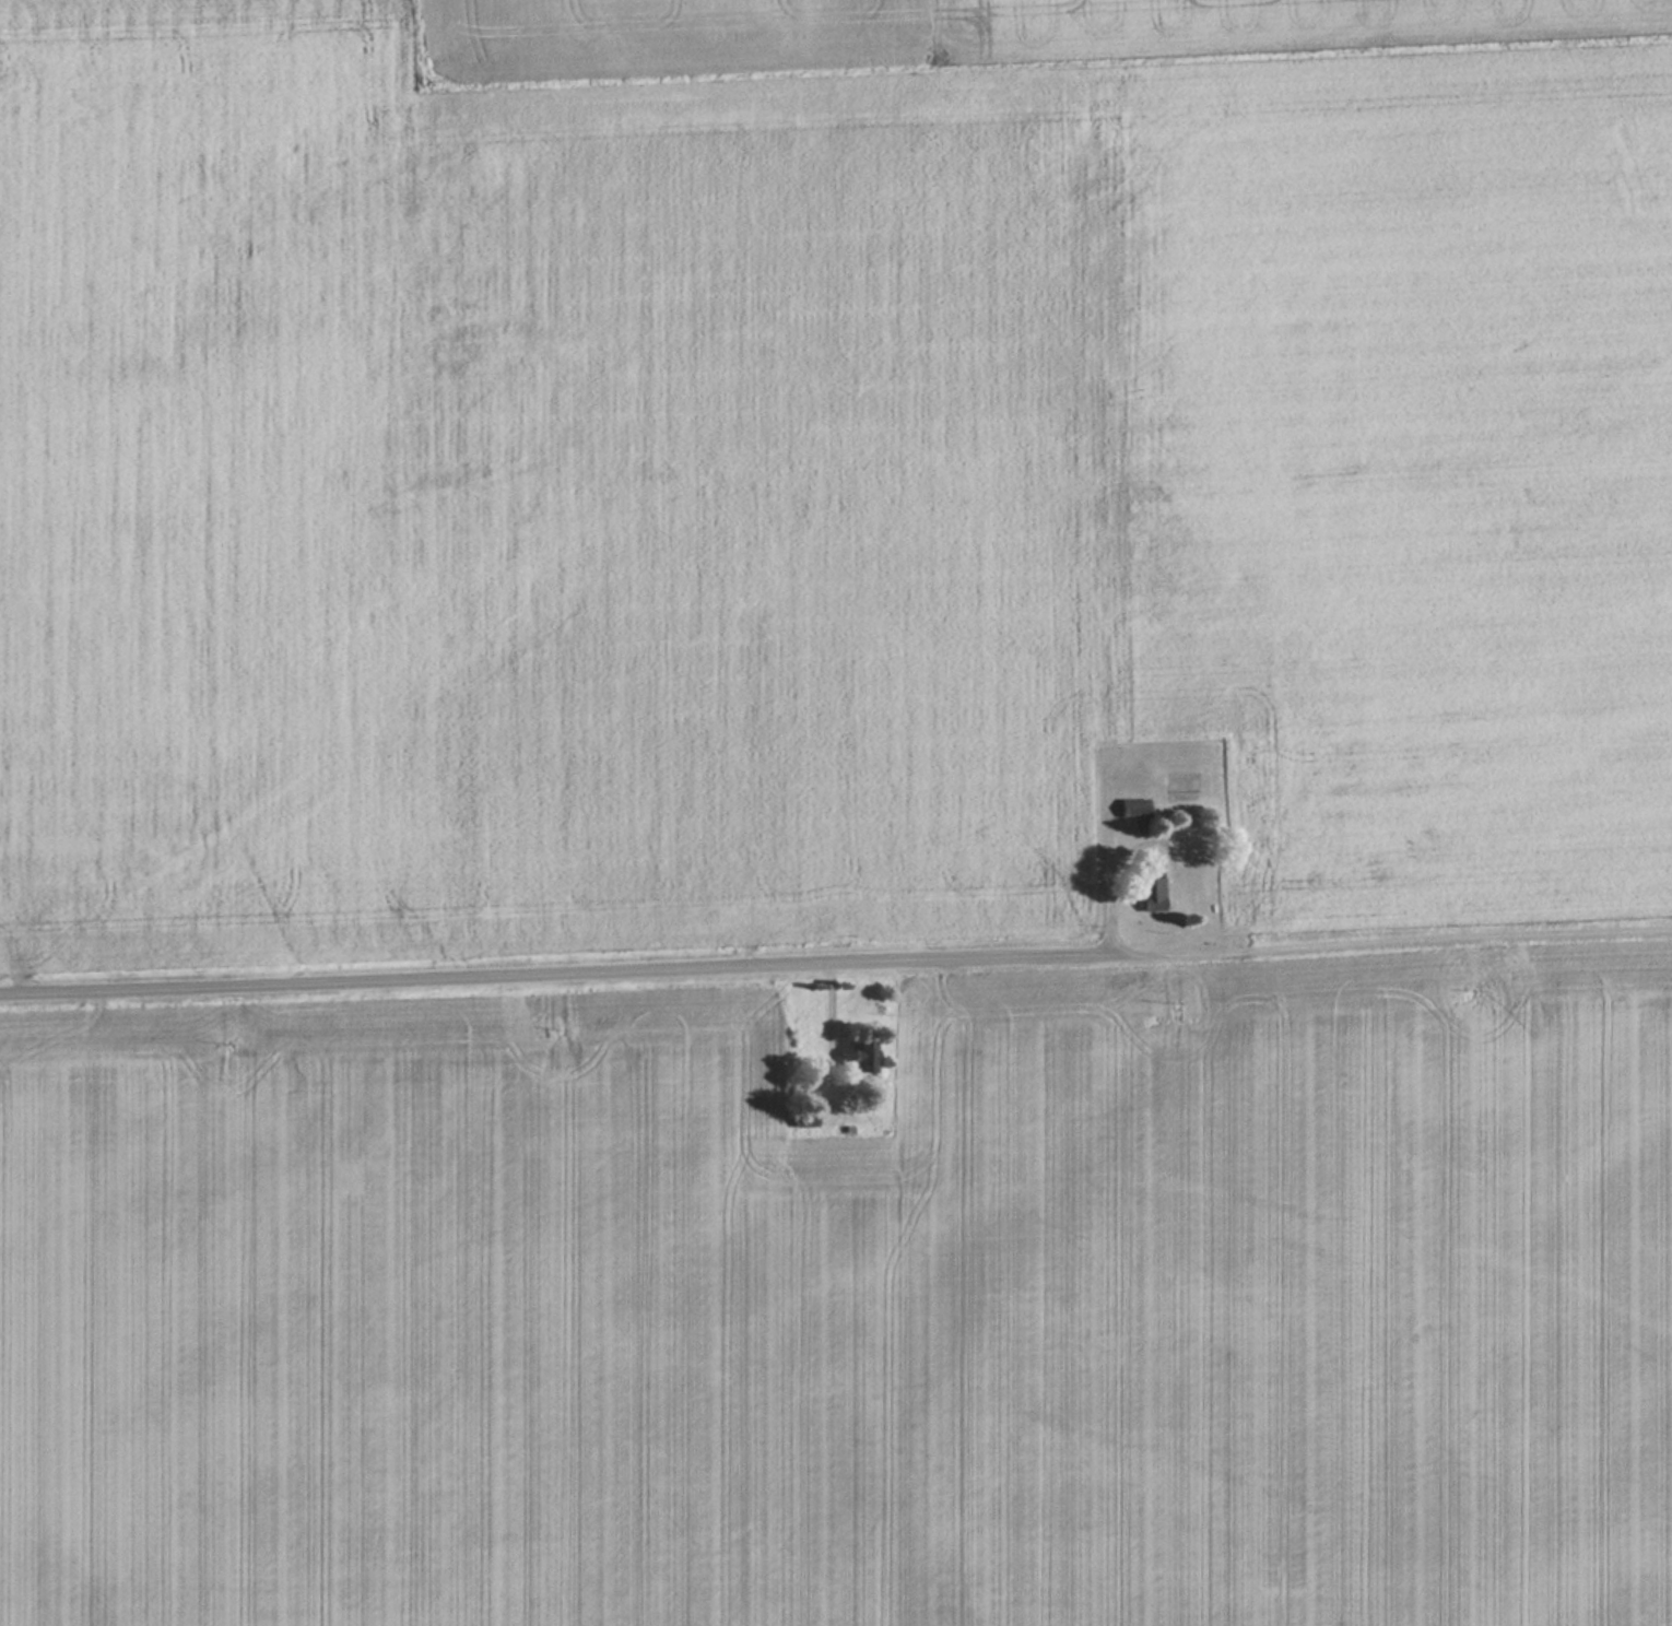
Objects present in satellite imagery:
building: (1134, 809)
building: (1153, 889)
road: (836, 952)
building: (863, 1054)

